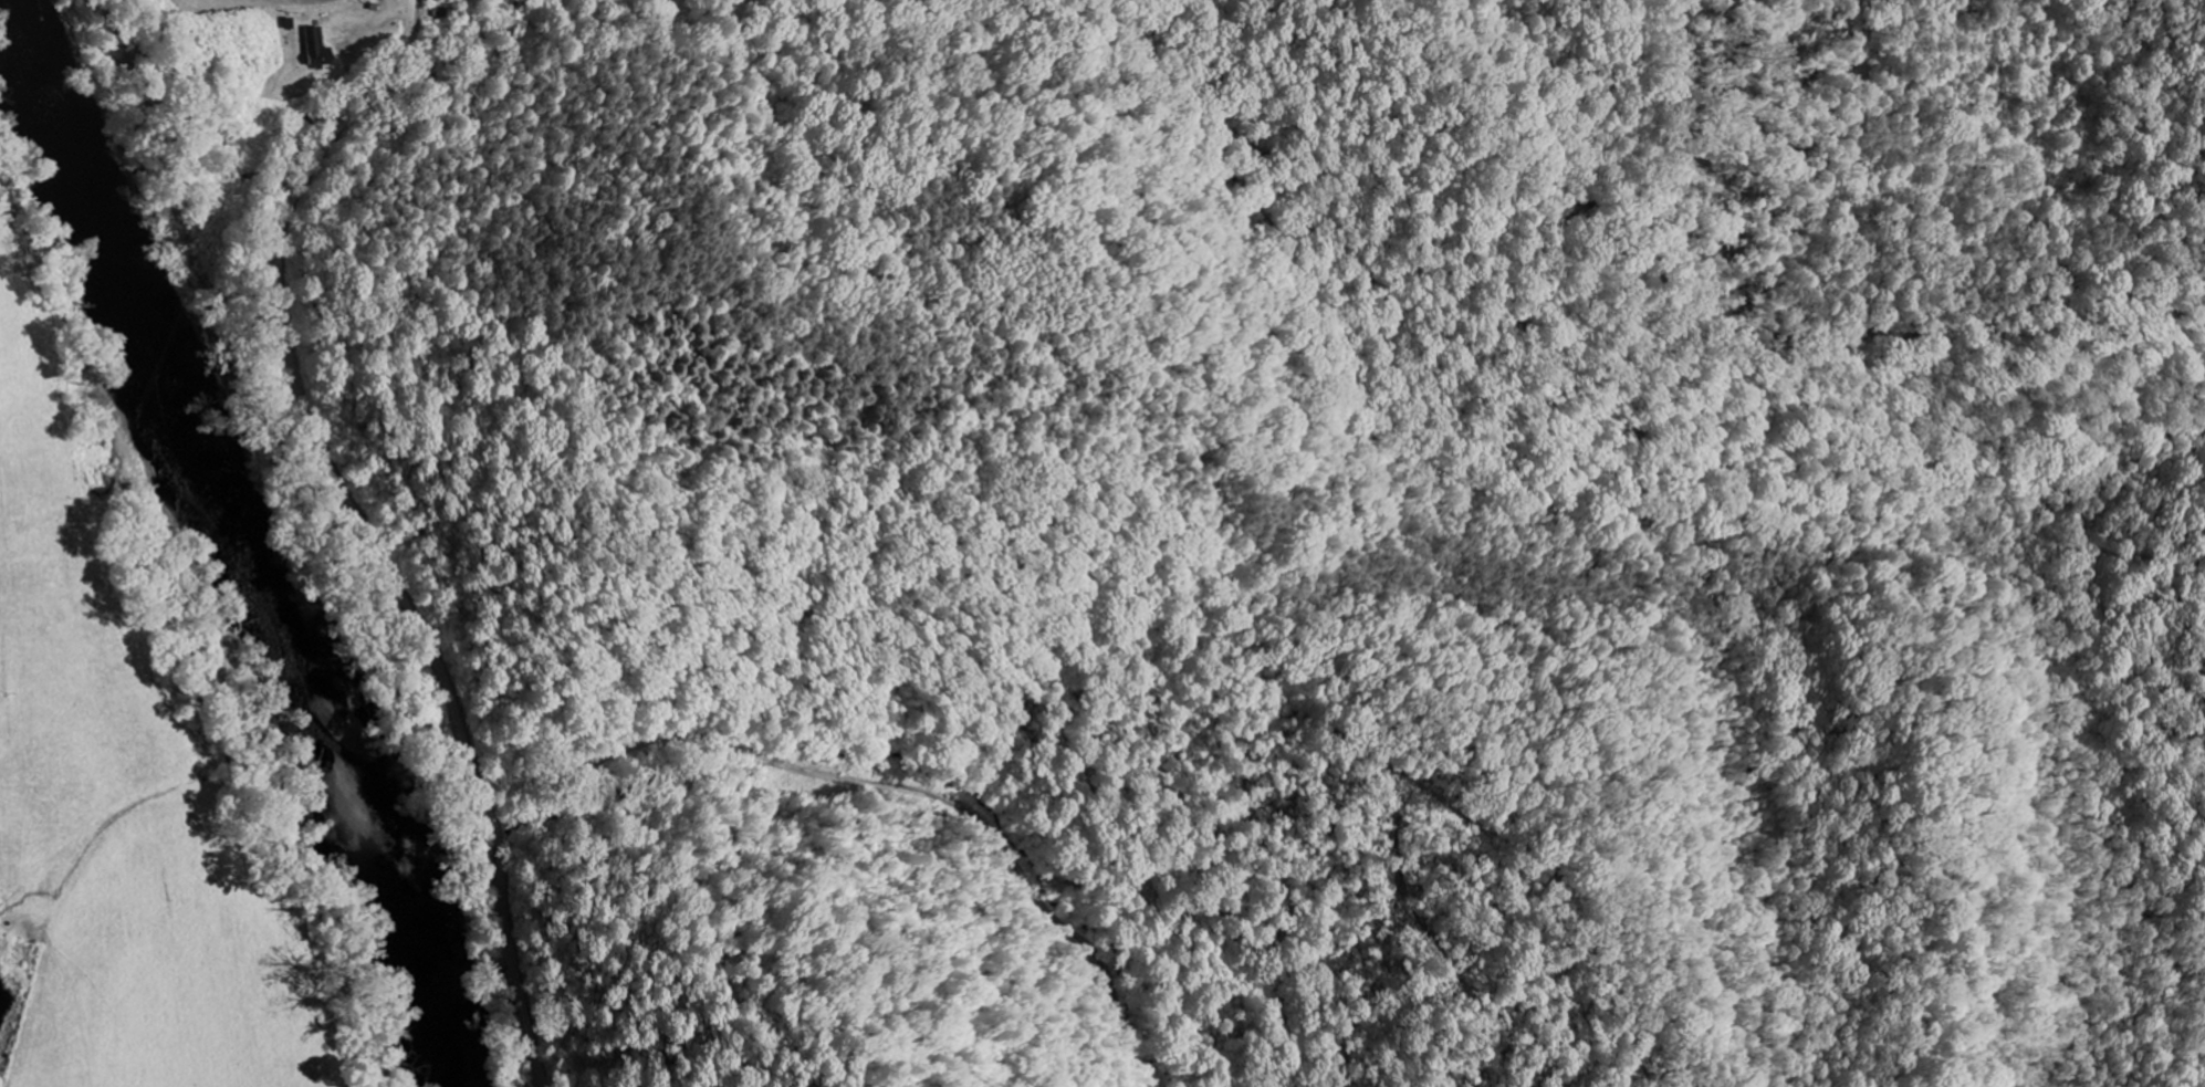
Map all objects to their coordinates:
building: (314, 45)
road: (369, 529)
river: (224, 545)

